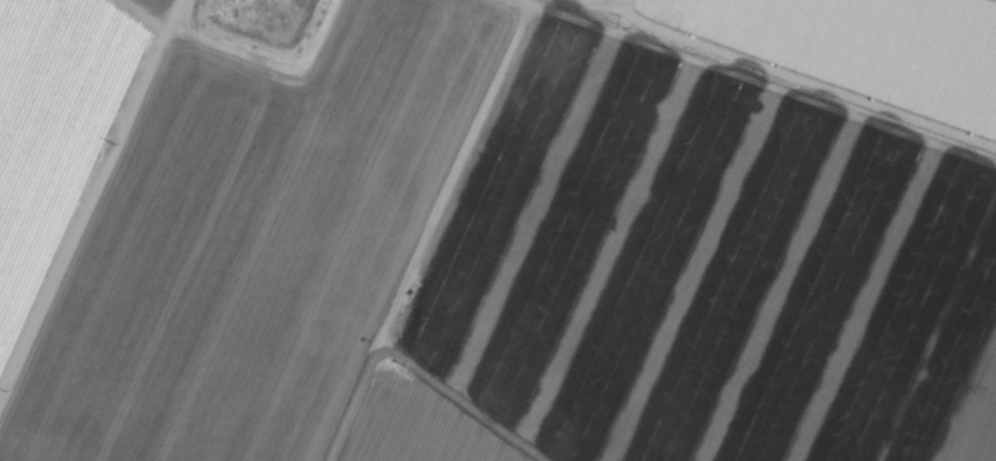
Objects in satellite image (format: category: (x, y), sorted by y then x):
road: (613, 4)
wastewater plant: (260, 18)
crop: (498, 230)

